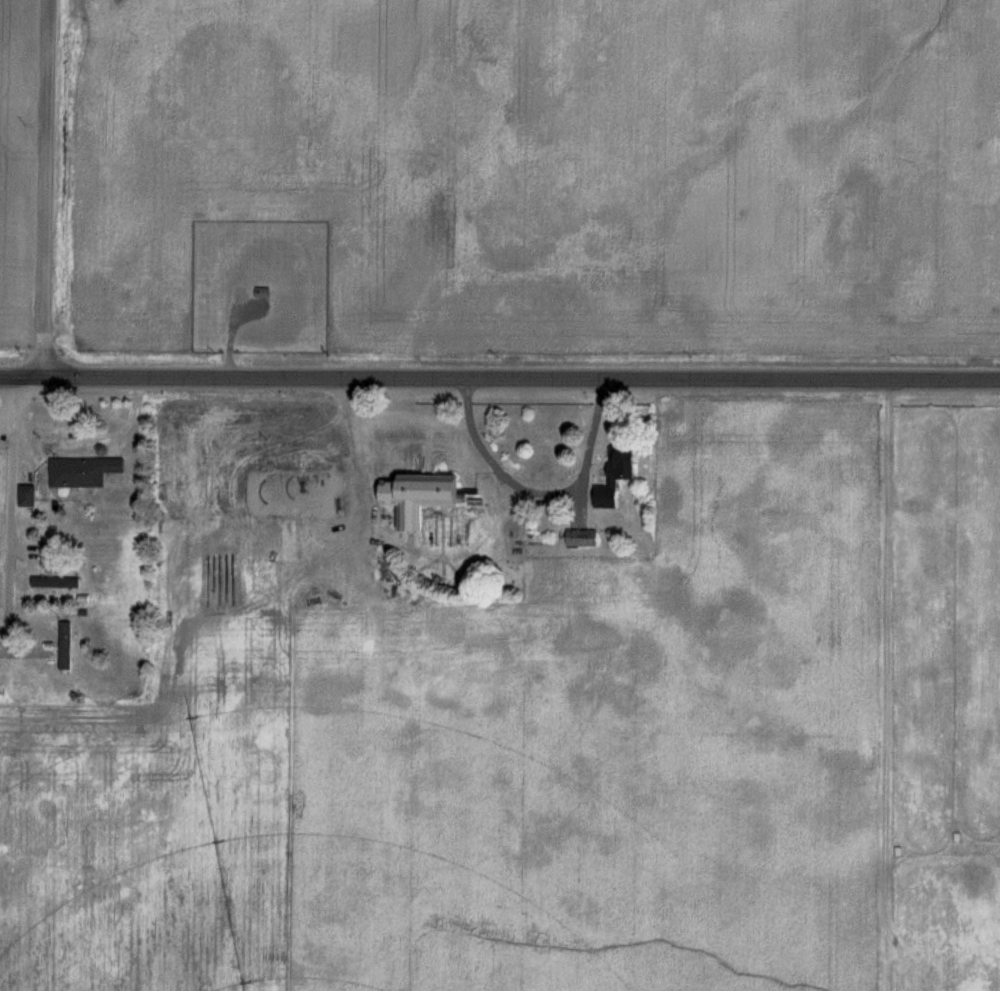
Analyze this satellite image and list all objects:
road: (48, 188)
road: (500, 378)
road: (14, 401)
building: (630, 463)
building: (89, 471)
road: (540, 493)
building: (30, 496)
building: (425, 497)
road: (10, 530)
building: (585, 539)
building: (59, 583)
building: (69, 646)

